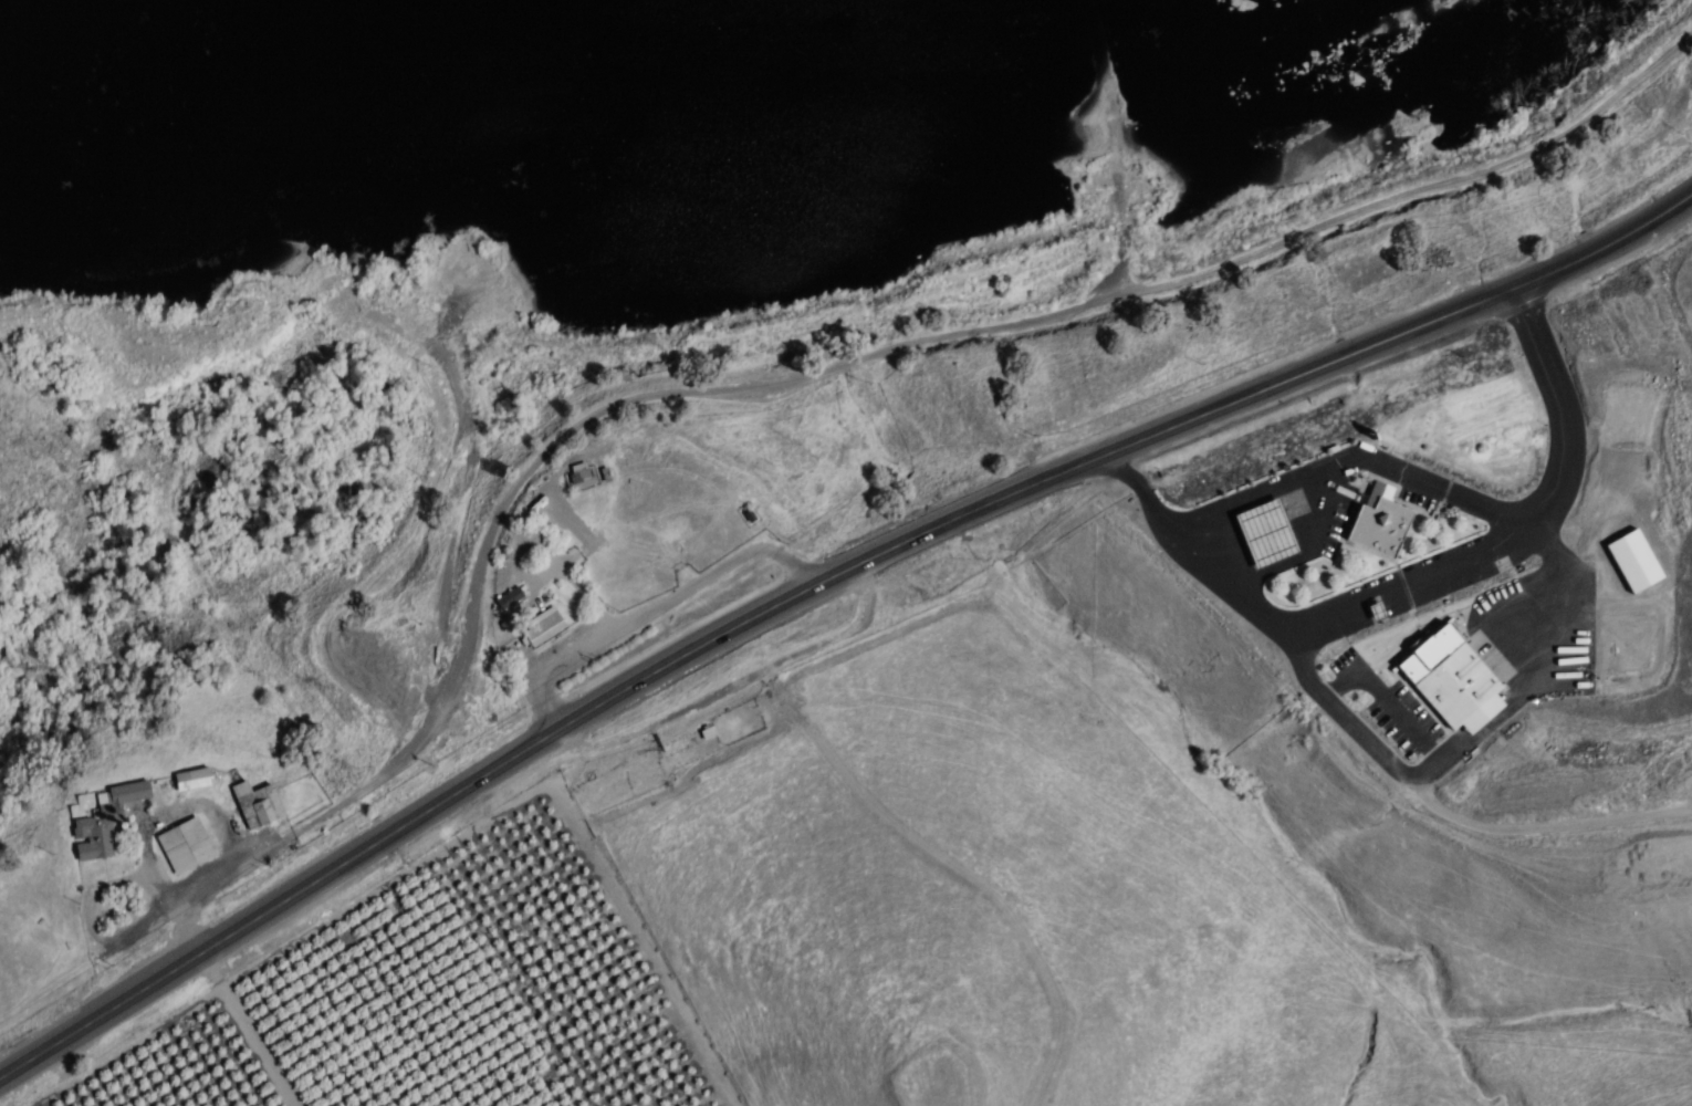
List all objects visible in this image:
road: (1481, 305)
road: (741, 401)
road: (1563, 408)
road: (1349, 460)
building: (582, 476)
flagpole: (1358, 479)
road: (1141, 490)
building: (1377, 494)
road: (950, 522)
building: (1379, 529)
building: (1265, 535)
building: (1633, 565)
road: (1410, 582)
road: (652, 609)
crop: (991, 623)
building: (542, 627)
building: (1448, 676)
road: (737, 686)
road: (1400, 772)
building: (194, 780)
building: (257, 805)
building: (105, 822)
building: (186, 846)
road: (327, 877)
road: (190, 932)
crop: (428, 994)
crop: (297, 1102)

